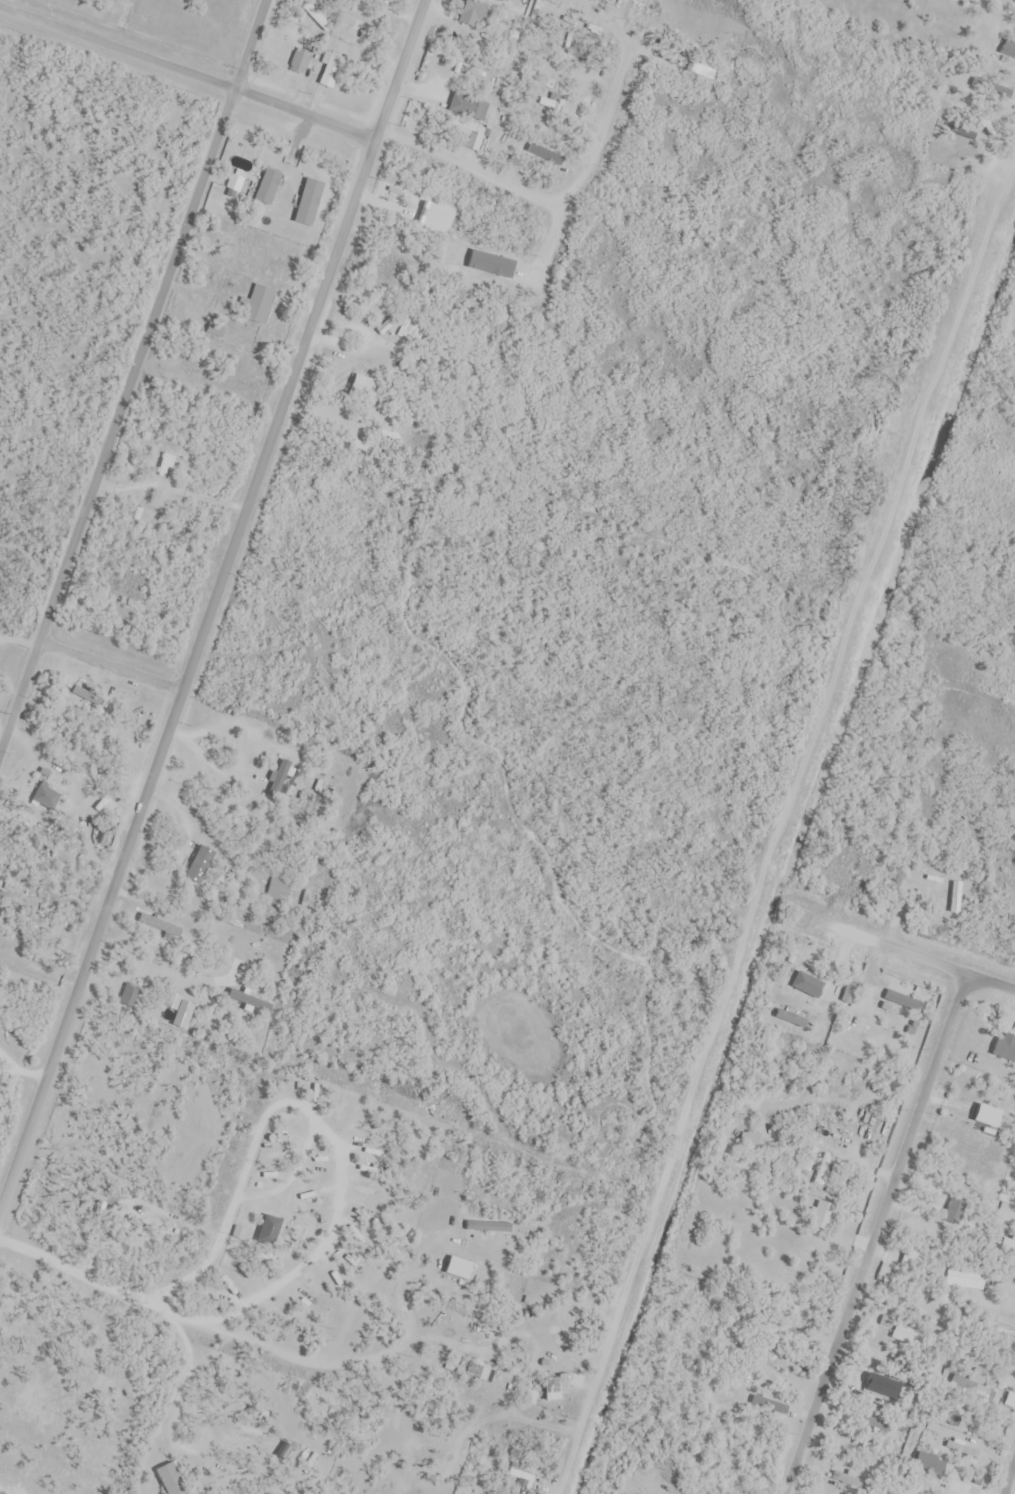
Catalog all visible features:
building: (500, 0)
building: (472, 13)
building: (1012, 56)
building: (308, 62)
road: (186, 73)
building: (552, 90)
building: (468, 107)
building: (556, 107)
building: (235, 185)
building: (268, 187)
road: (547, 199)
building: (258, 305)
road: (133, 378)
building: (345, 428)
building: (169, 461)
road: (213, 608)
road: (831, 658)
road: (112, 669)
building: (280, 780)
building: (45, 798)
building: (41, 846)
building: (201, 866)
building: (929, 882)
building: (279, 891)
building: (160, 926)
road: (951, 969)
building: (795, 988)
building: (791, 1018)
building: (908, 1028)
building: (986, 1114)
building: (749, 1139)
road: (291, 1175)
building: (1007, 1184)
building: (952, 1208)
building: (1005, 1212)
road: (226, 1216)
building: (269, 1231)
road: (871, 1233)
road: (326, 1238)
building: (1007, 1243)
building: (912, 1257)
building: (960, 1274)
road: (90, 1277)
road: (607, 1333)
building: (871, 1358)
building: (487, 1375)
building: (960, 1380)
building: (553, 1389)
building: (1008, 1394)
building: (957, 1448)
building: (921, 1457)
building: (520, 1476)
building: (975, 1476)
road: (1008, 1476)
building: (170, 1480)
building: (945, 1482)
building: (848, 1483)

